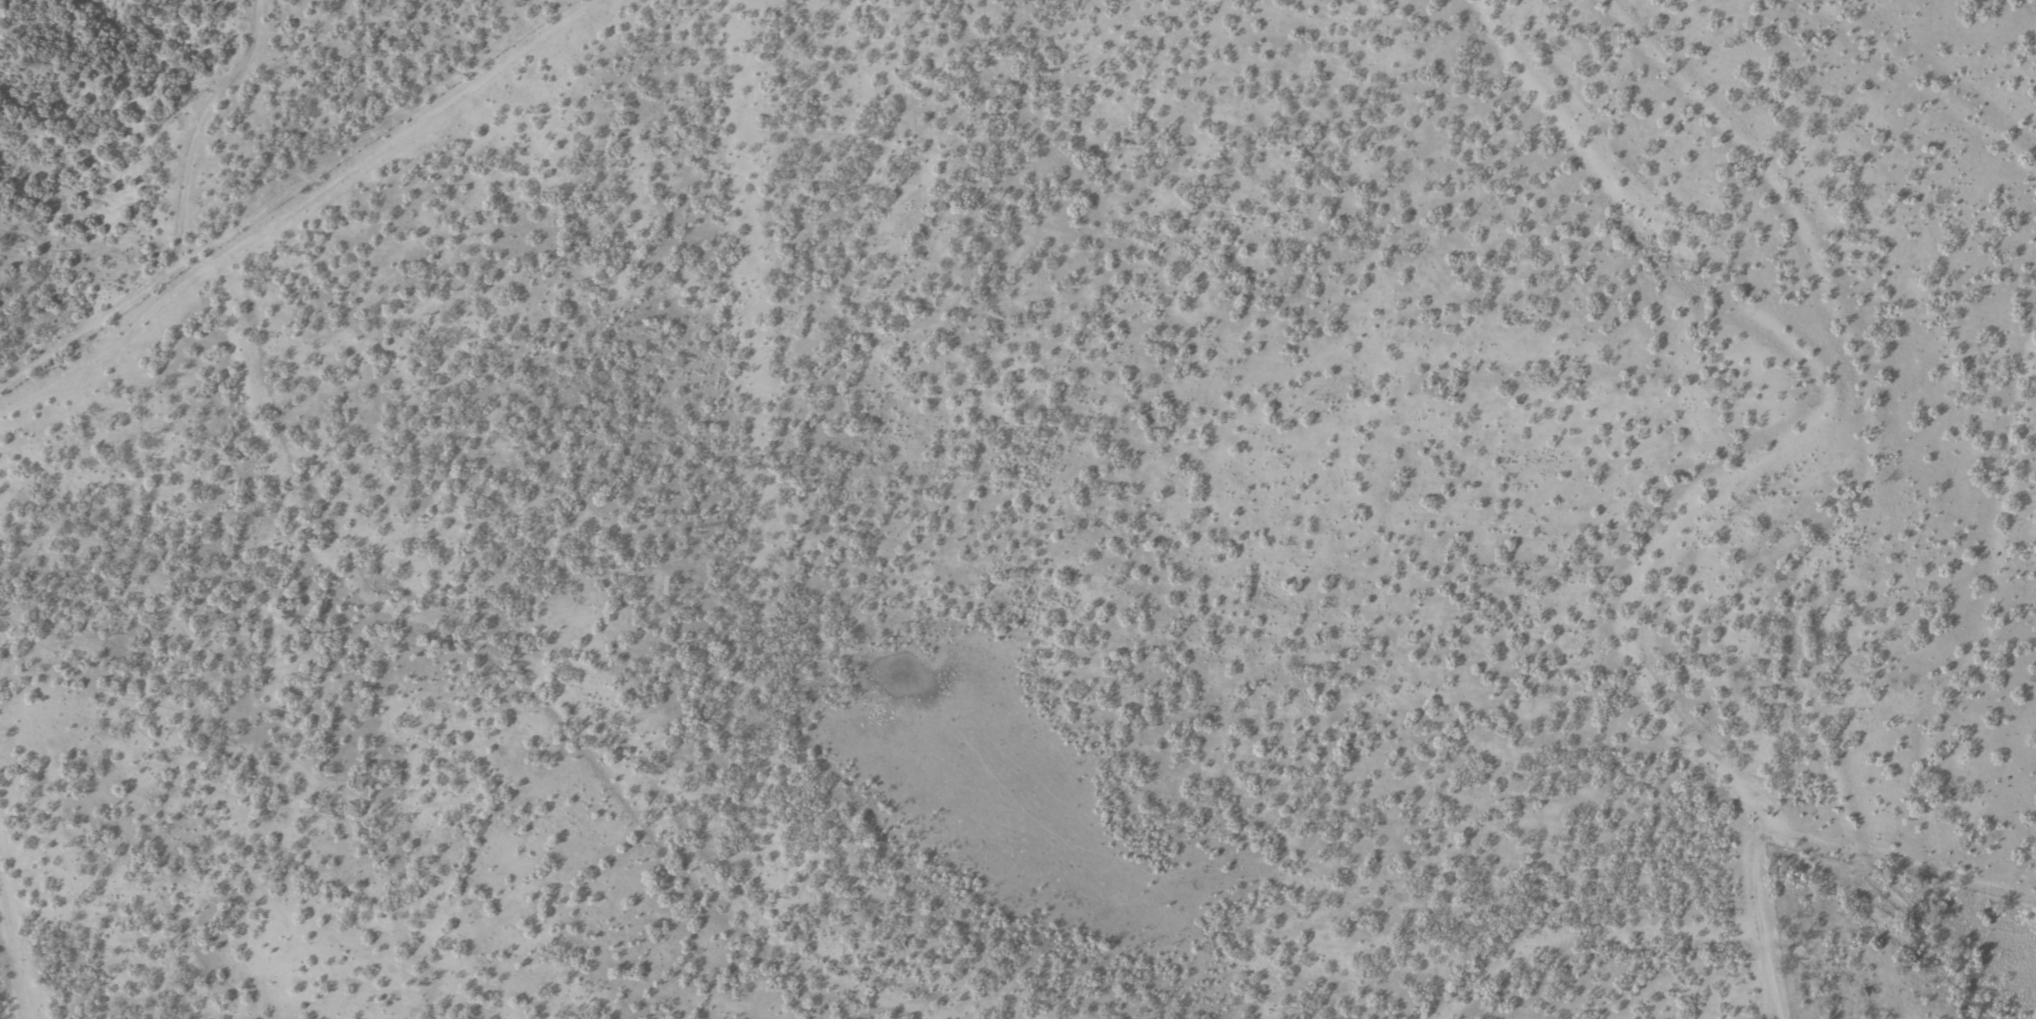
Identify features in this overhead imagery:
road: (124, 182)

